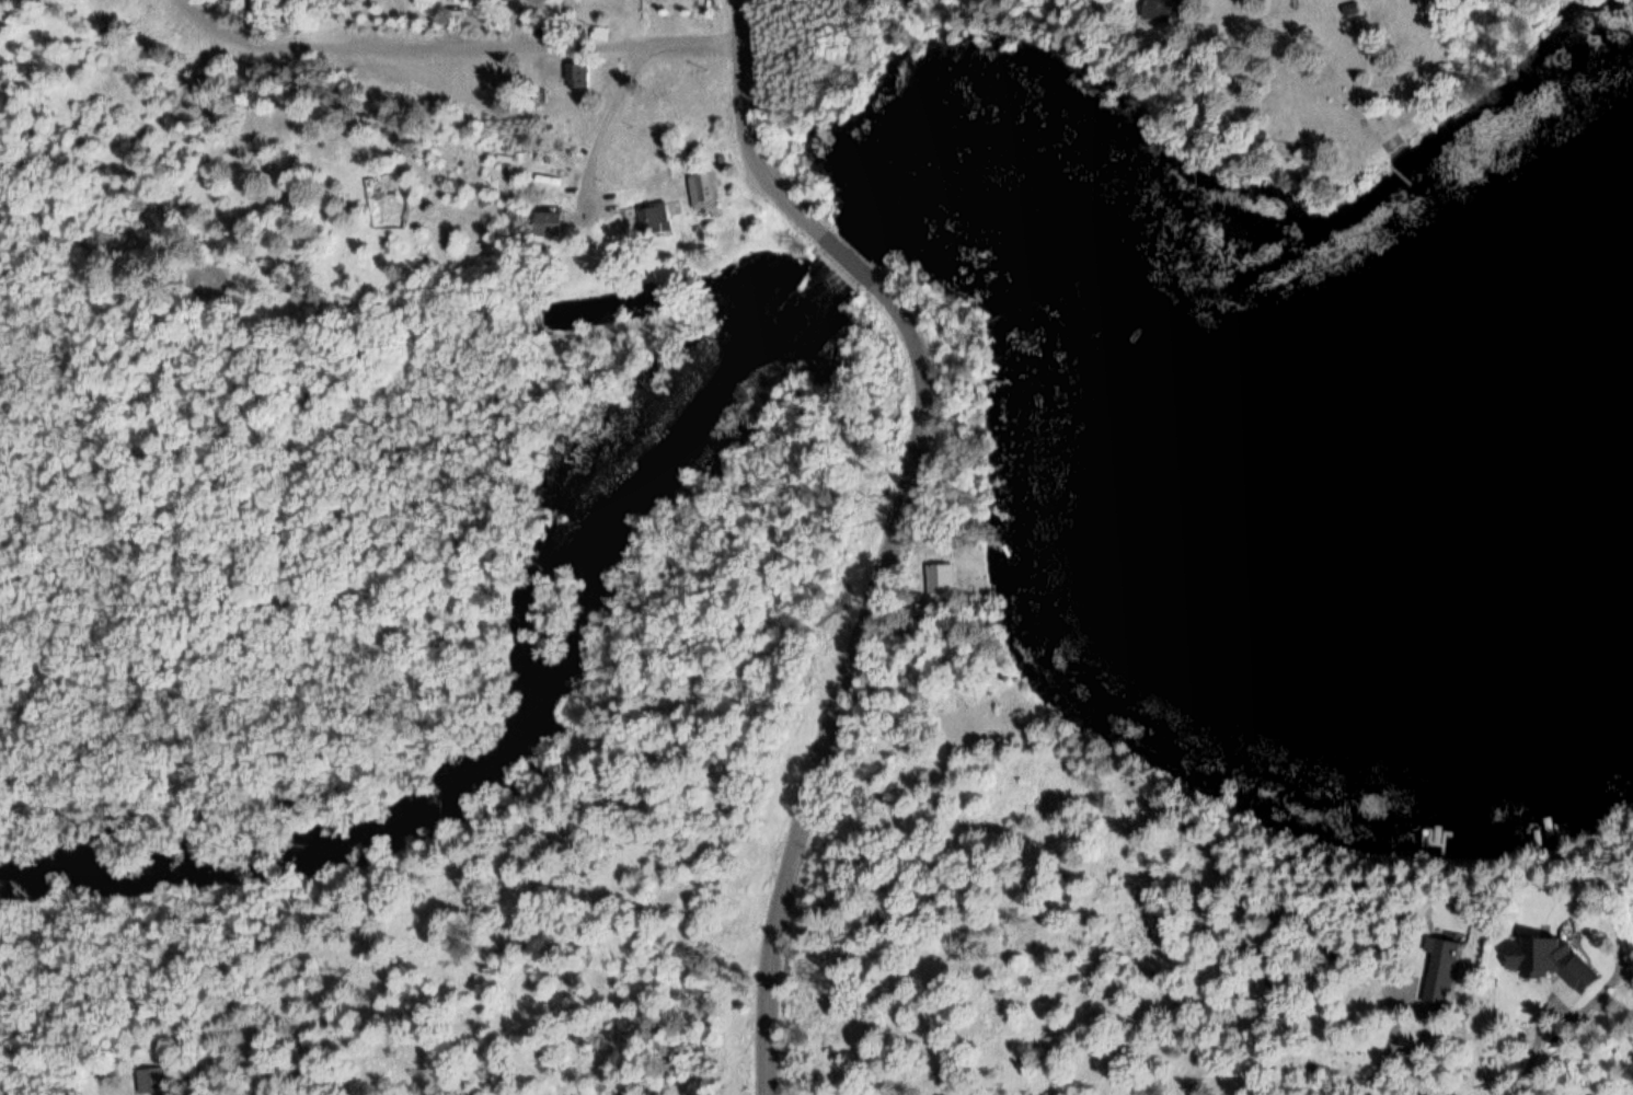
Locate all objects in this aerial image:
building: (455, 0)
building: (1161, 11)
road: (463, 41)
road: (601, 123)
building: (701, 189)
building: (651, 218)
building: (545, 222)
river: (843, 242)
road: (896, 523)
building: (938, 578)
river: (517, 708)
building: (1550, 957)
building: (1438, 970)
building: (149, 1080)

